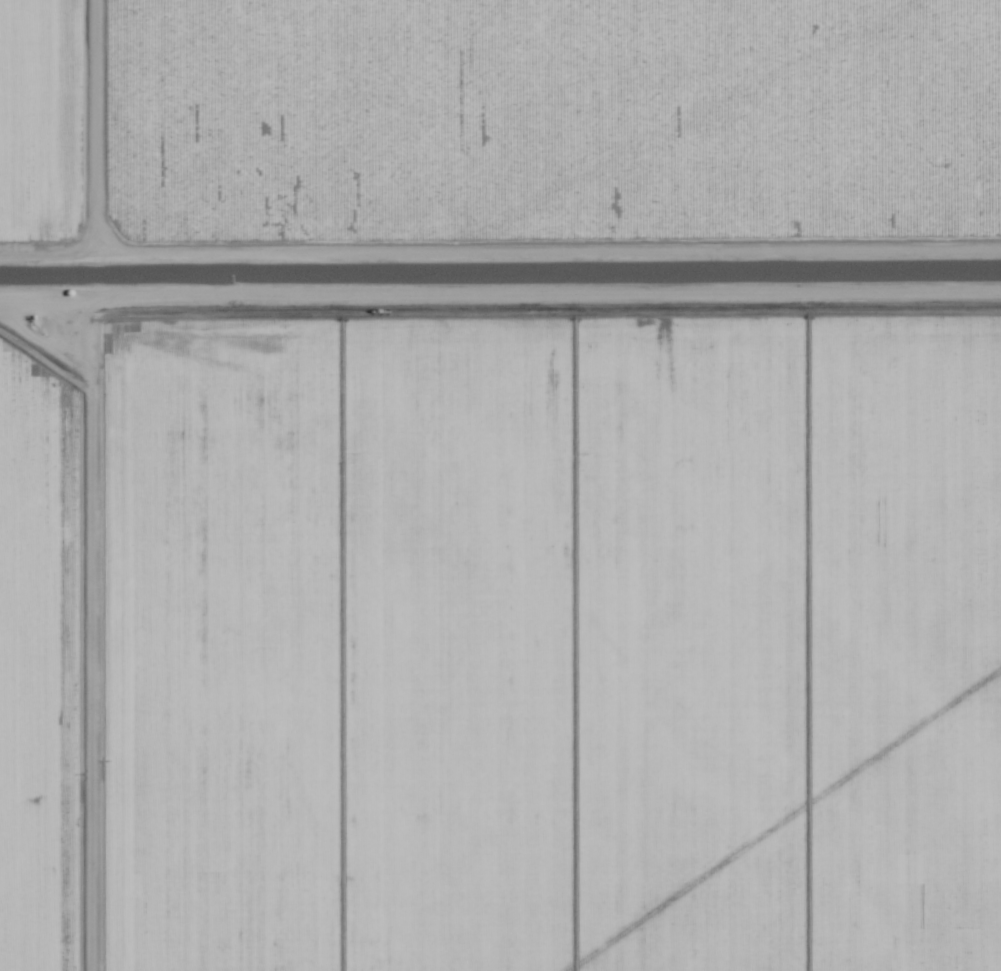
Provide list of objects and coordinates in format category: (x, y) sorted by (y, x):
road: (88, 126)
road: (500, 254)
road: (500, 295)
road: (82, 640)

